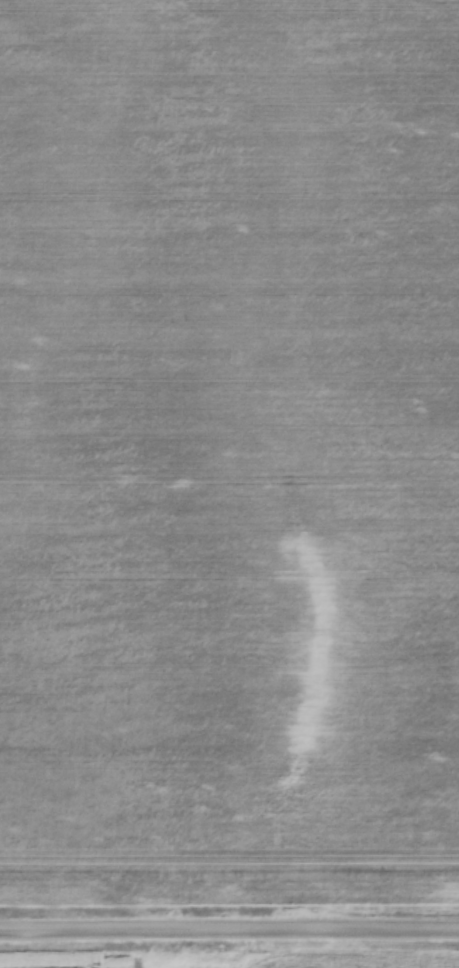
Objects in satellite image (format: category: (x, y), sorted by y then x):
road: (229, 929)

